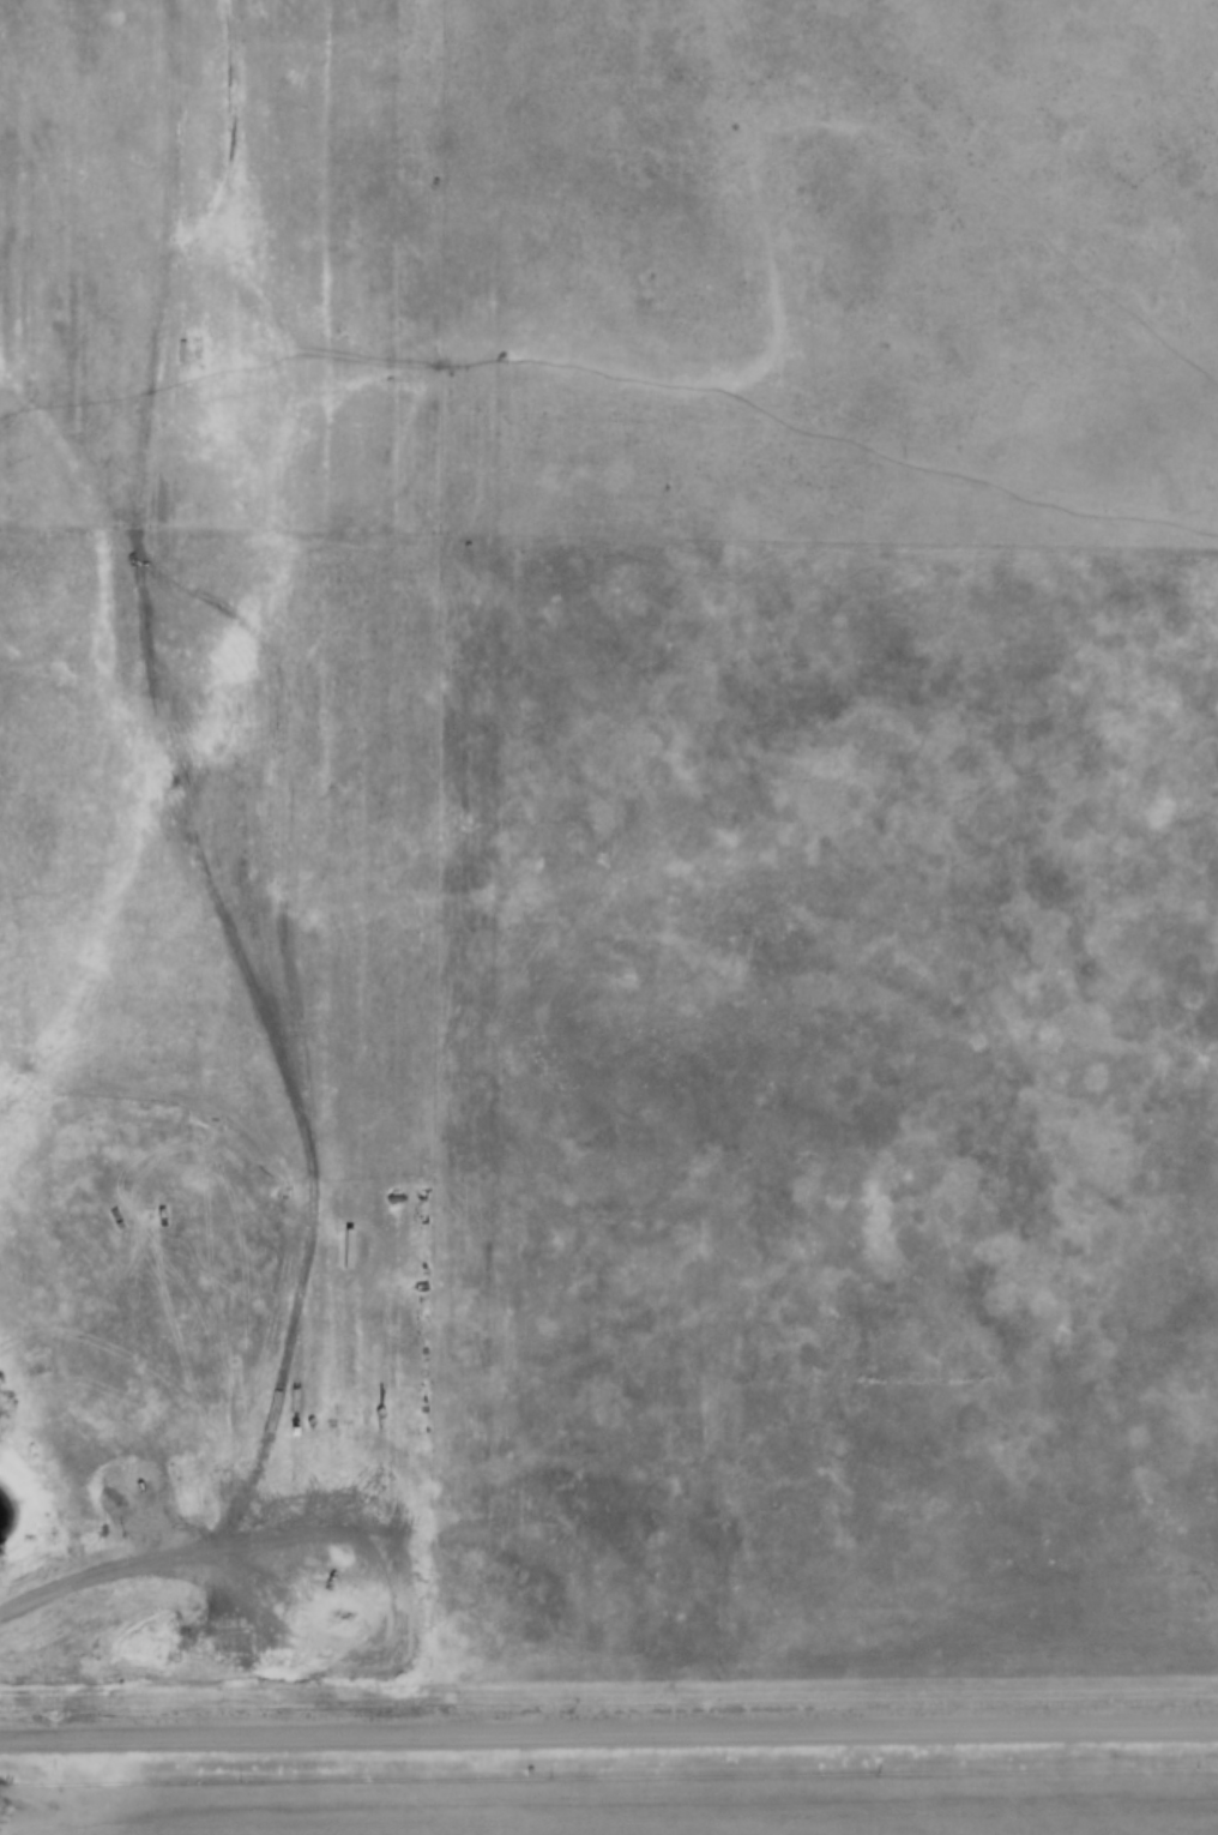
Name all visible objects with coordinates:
road: (609, 1739)

